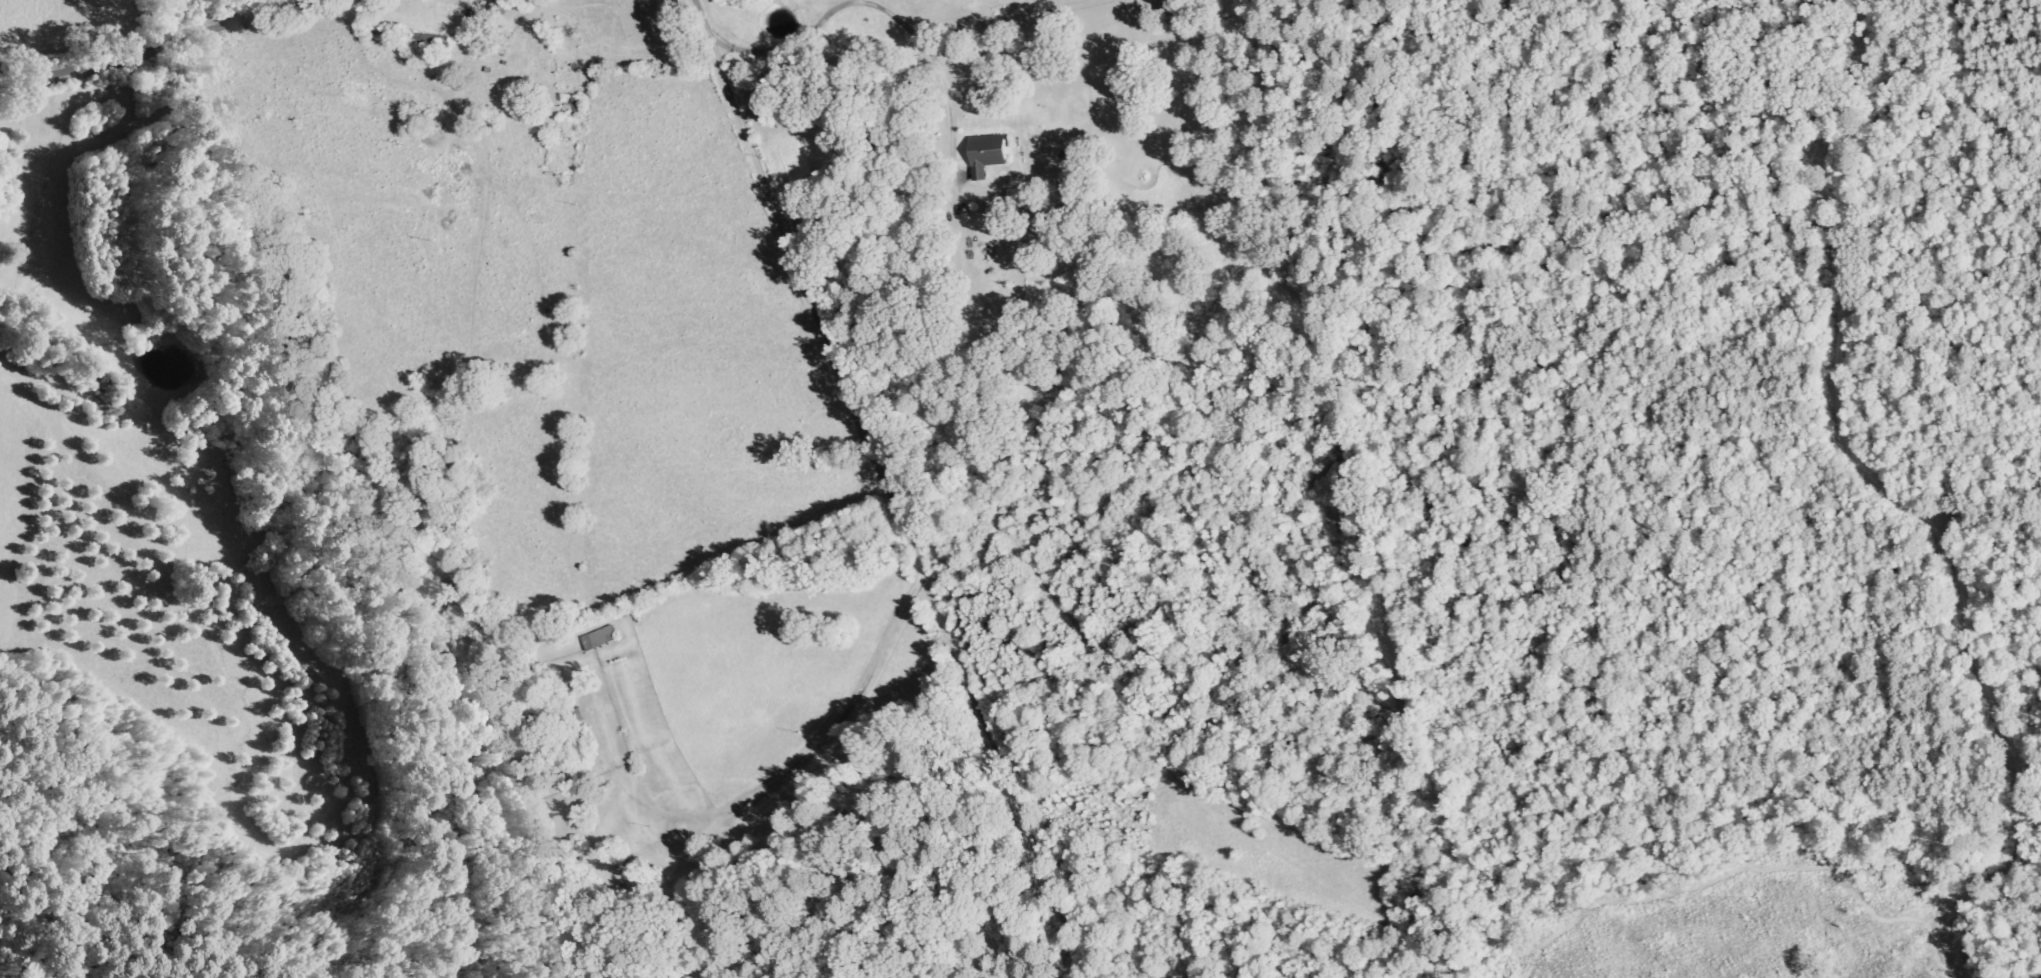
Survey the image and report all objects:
road: (150, 43)
building: (985, 154)
road: (886, 489)
building: (598, 639)

